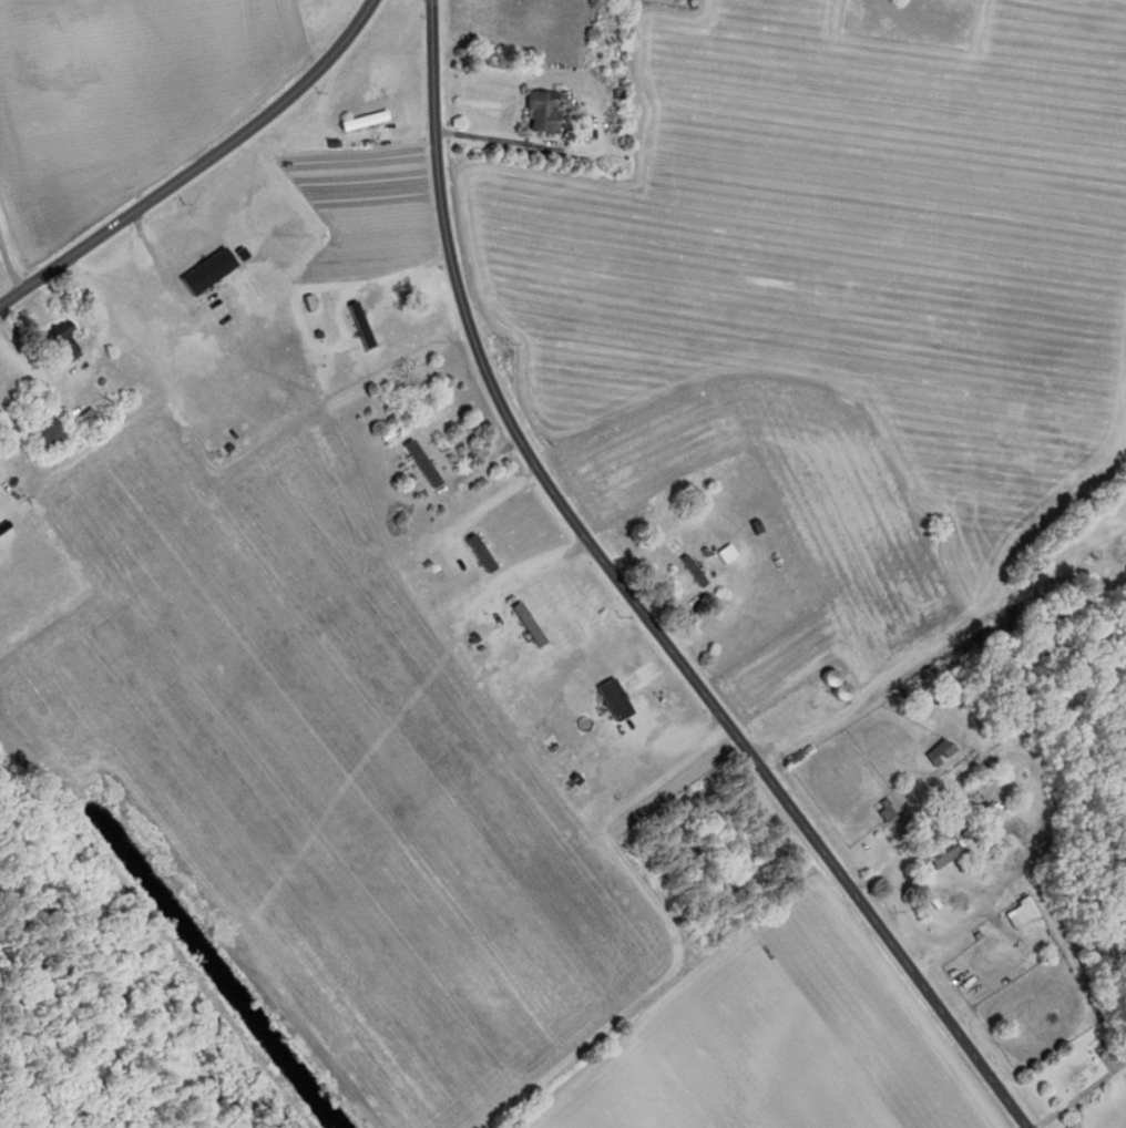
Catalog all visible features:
building: (538, 111)
building: (360, 120)
road: (197, 164)
building: (204, 270)
building: (60, 342)
building: (40, 433)
building: (477, 553)
building: (724, 553)
building: (1123, 555)
building: (407, 563)
road: (634, 603)
building: (524, 624)
building: (831, 684)
building: (611, 699)
building: (936, 752)
building: (712, 849)
building: (936, 852)
building: (1017, 913)
road: (1081, 1094)

